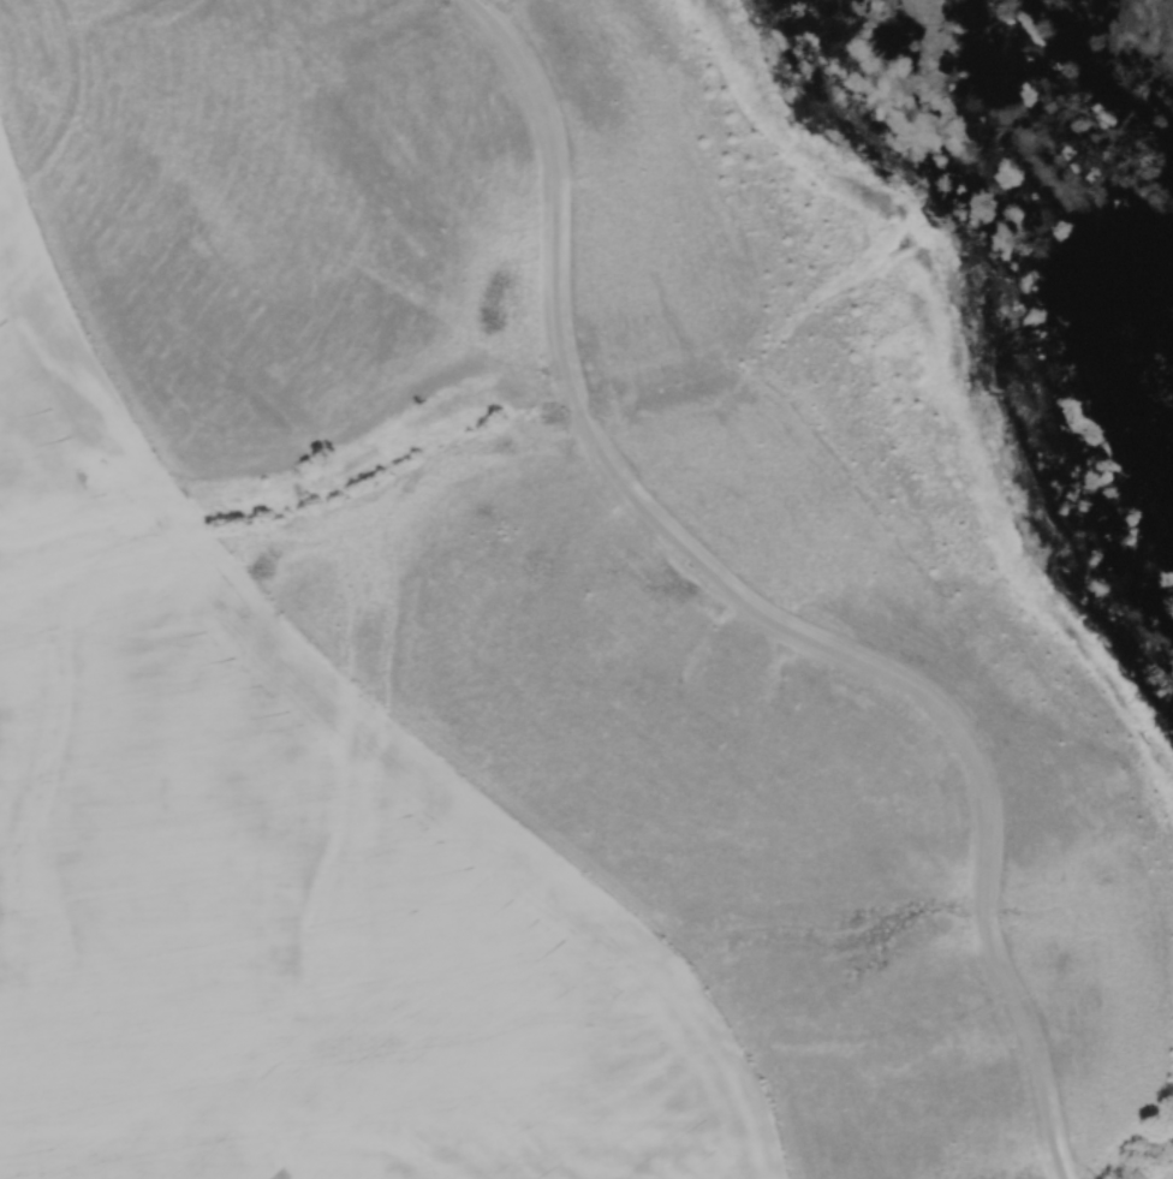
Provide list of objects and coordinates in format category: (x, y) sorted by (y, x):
road: (484, 4)
park: (708, 480)
road: (755, 608)

